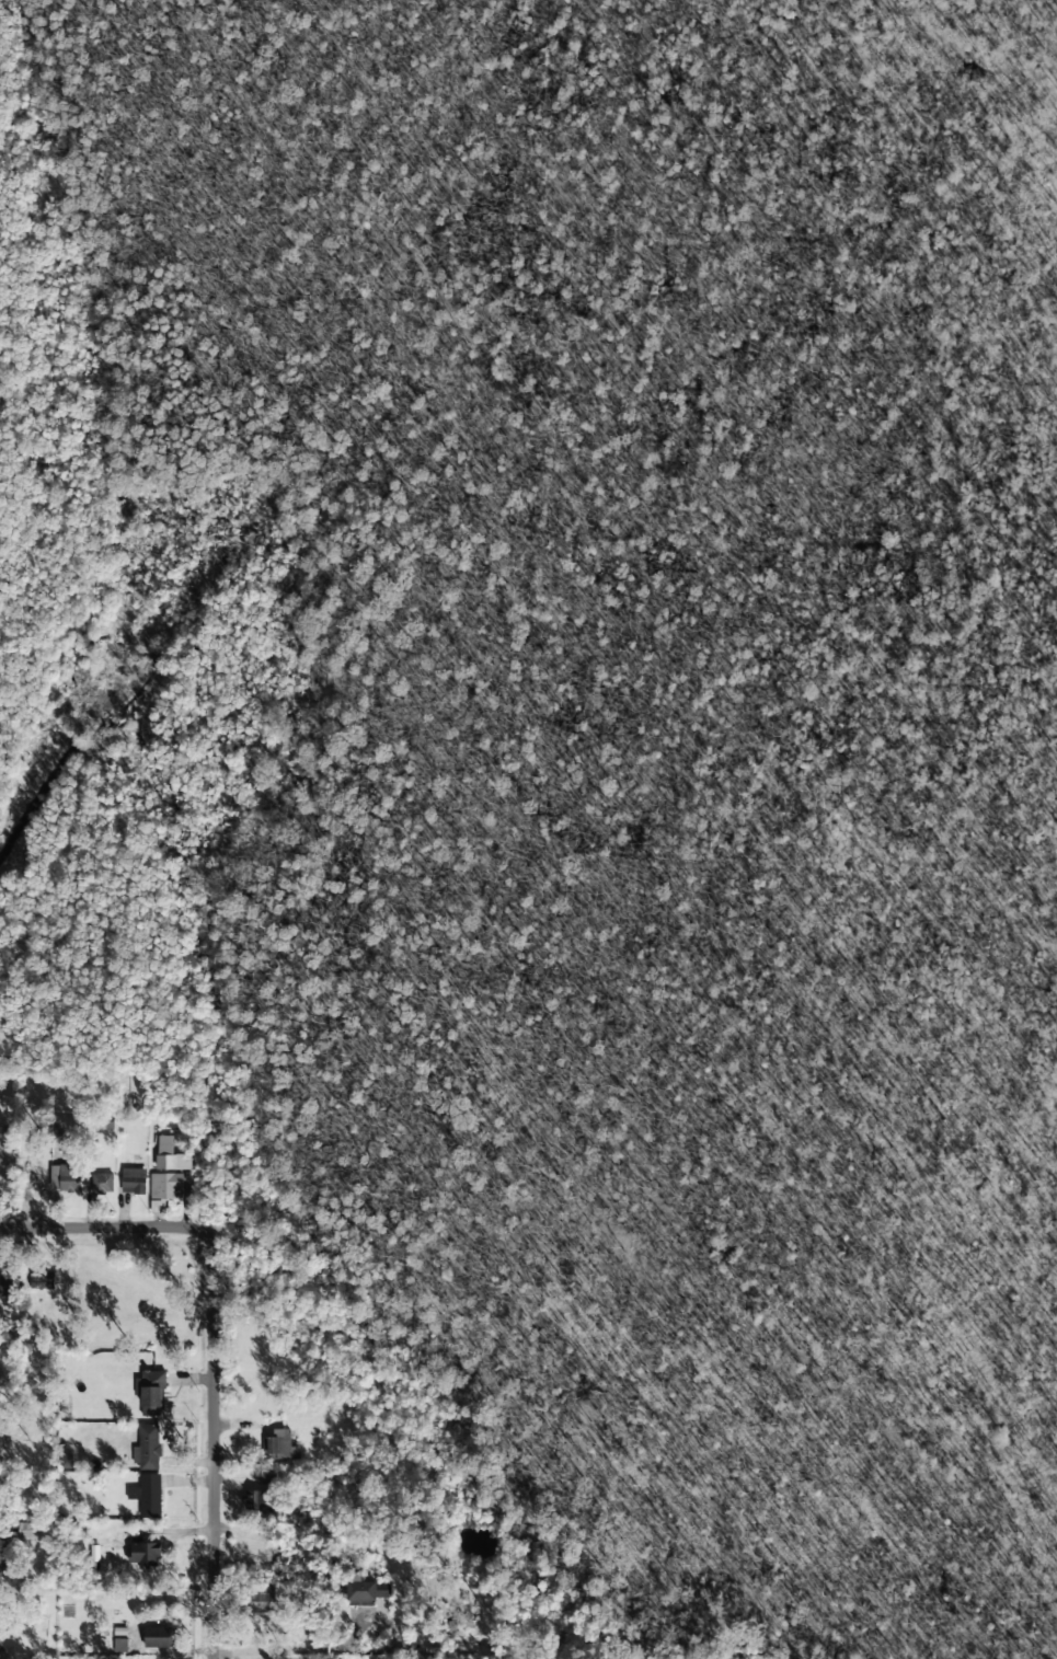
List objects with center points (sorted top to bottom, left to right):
building: (172, 1162)
building: (65, 1177)
building: (134, 1182)
building: (102, 1183)
building: (164, 1186)
road: (83, 1230)
building: (150, 1392)
road: (210, 1430)
building: (280, 1445)
building: (147, 1449)
building: (147, 1495)
building: (254, 1500)
building: (143, 1554)
building: (367, 1589)
building: (263, 1593)
building: (160, 1637)
building: (119, 1646)

